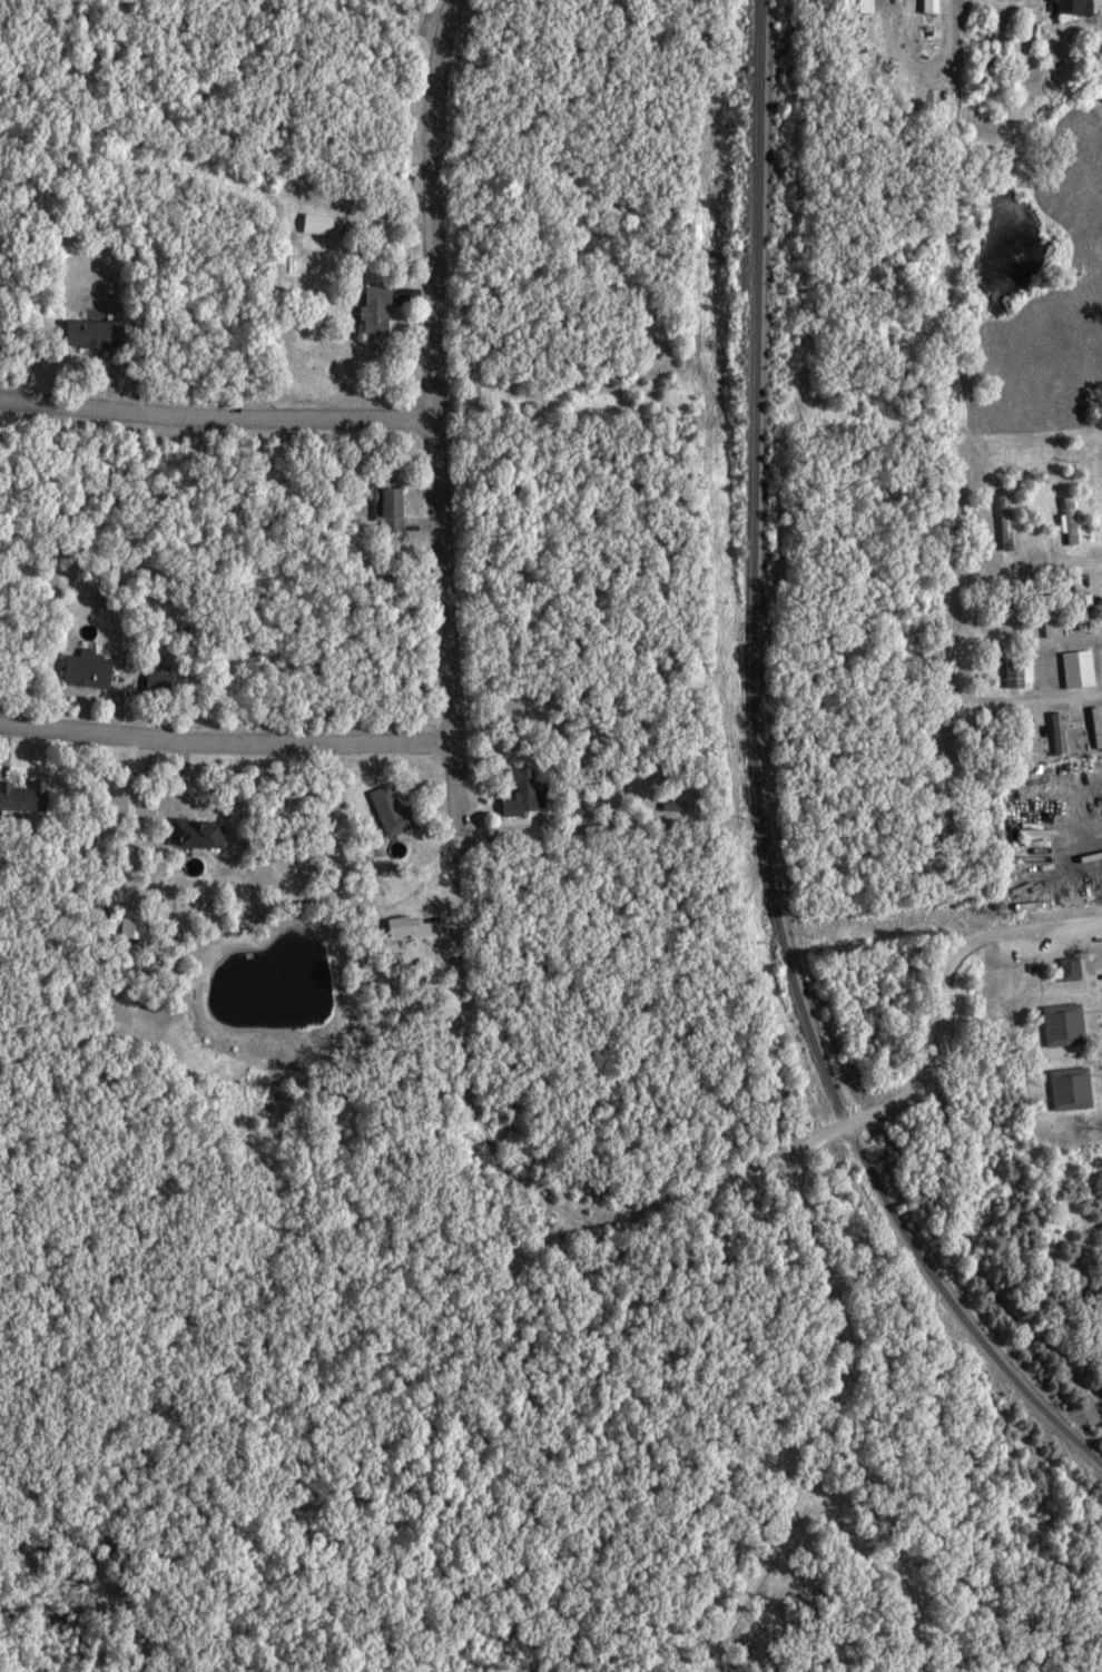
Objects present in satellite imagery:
building: (875, 6)
building: (941, 7)
building: (1084, 7)
road: (963, 22)
building: (327, 224)
building: (385, 308)
building: (105, 332)
road: (218, 413)
road: (439, 440)
building: (400, 508)
road: (1042, 571)
building: (1091, 607)
building: (1056, 616)
road: (950, 641)
building: (97, 668)
building: (1086, 668)
building: (1029, 670)
building: (167, 682)
road: (1044, 699)
building: (1101, 715)
road: (229, 740)
railway: (765, 776)
building: (533, 793)
building: (30, 795)
building: (400, 810)
building: (205, 833)
building: (141, 923)
road: (954, 971)
building: (1073, 1024)
building: (1080, 1088)
road: (805, 1209)
road: (770, 1523)

